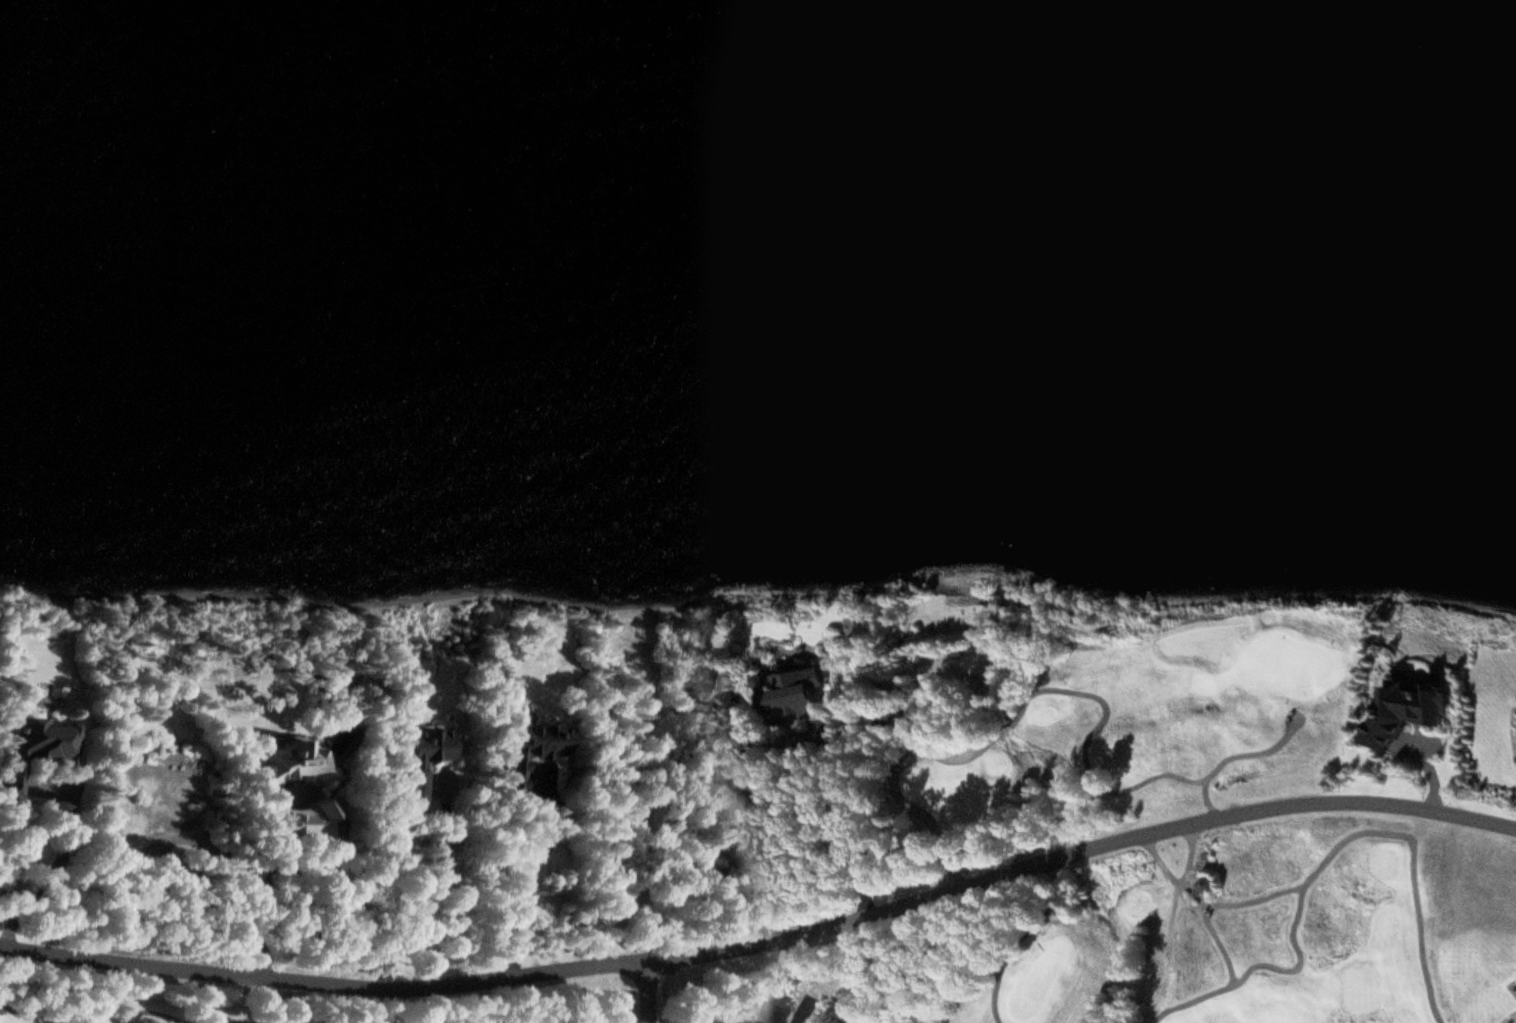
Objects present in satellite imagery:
building: (799, 705)
building: (1405, 711)
building: (532, 747)
building: (35, 748)
building: (422, 759)
building: (292, 761)
building: (300, 819)
road: (1079, 855)
road: (1325, 856)
park: (1064, 857)
building: (1206, 886)
road: (324, 987)
road: (649, 992)
road: (804, 1010)
park: (1276, 1021)

